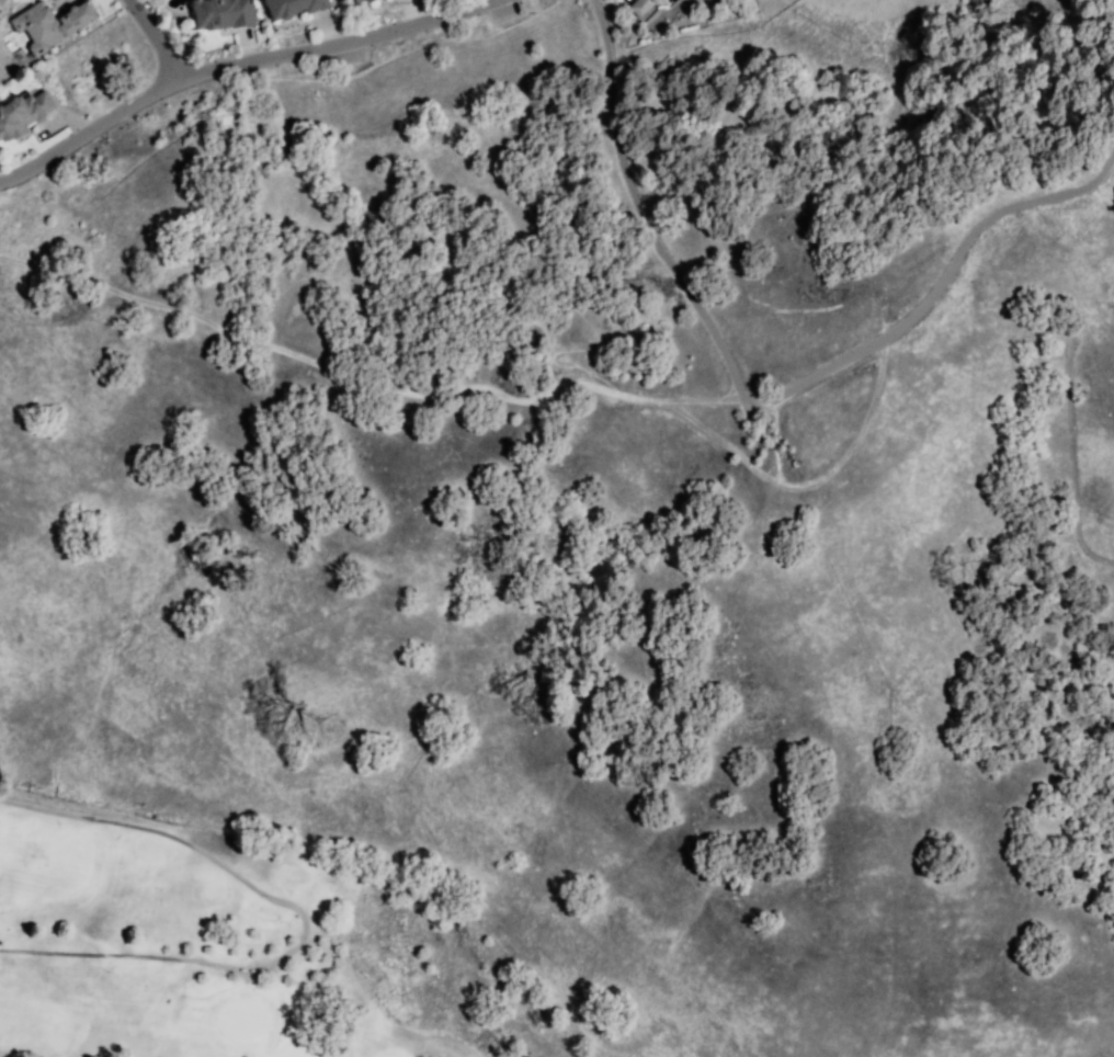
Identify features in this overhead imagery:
building: (354, 0)
building: (365, 2)
building: (639, 5)
building: (652, 5)
building: (299, 9)
building: (226, 12)
building: (48, 24)
road: (152, 37)
road: (242, 62)
building: (24, 112)
road: (362, 383)
road: (754, 410)
road: (805, 485)
road: (310, 916)
park: (255, 945)

